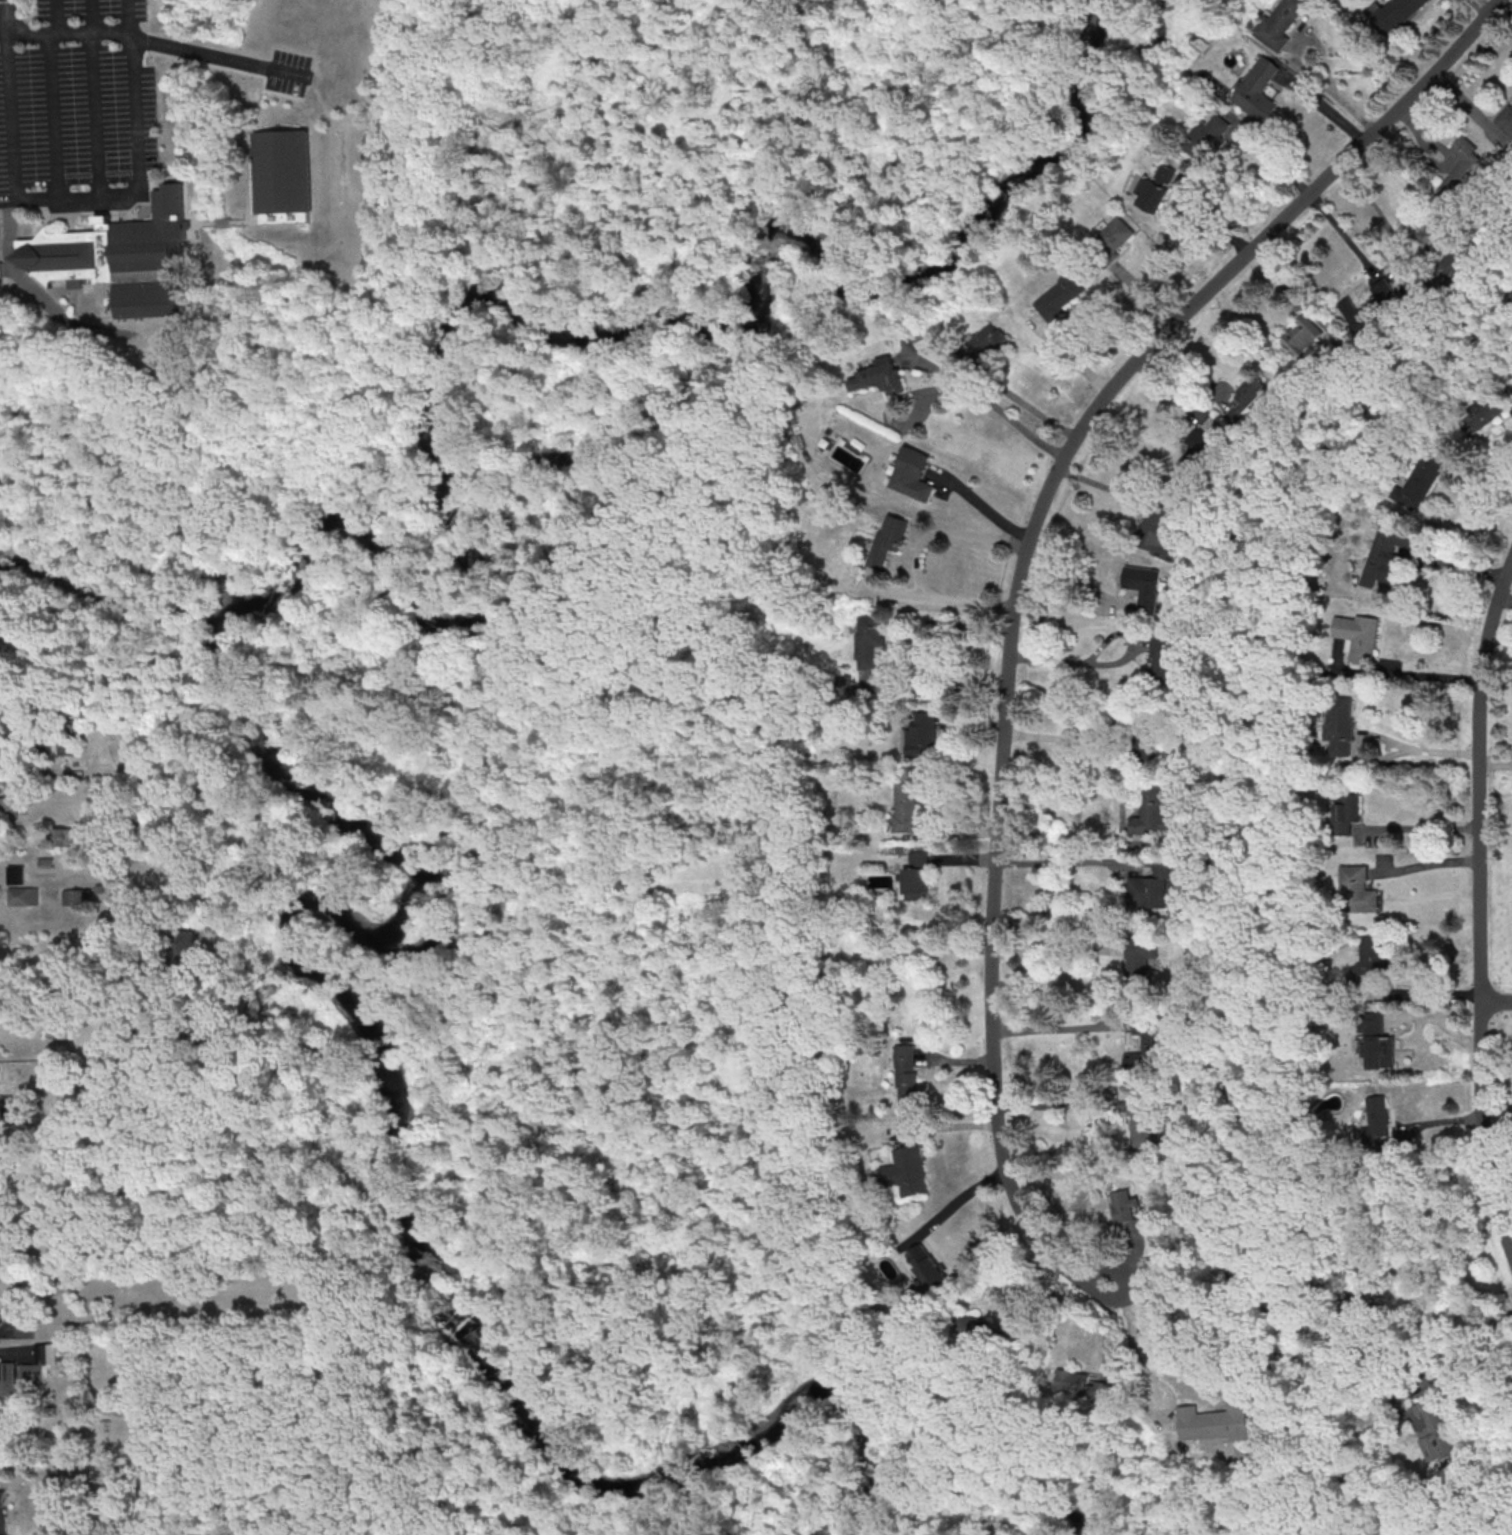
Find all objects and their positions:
building: (1396, 13)
road: (58, 16)
building: (1280, 22)
road: (155, 44)
road: (1300, 62)
parking lot: (289, 73)
building: (1257, 89)
road: (96, 98)
parking lot: (81, 100)
road: (1322, 108)
road: (53, 115)
building: (1506, 120)
building: (1205, 135)
building: (1462, 170)
building: (287, 177)
building: (1155, 189)
road: (75, 197)
road: (1342, 236)
building: (1111, 240)
road: (1395, 242)
building: (125, 265)
building: (1451, 266)
building: (0, 270)
building: (1060, 296)
building: (1360, 313)
river: (628, 334)
building: (1303, 337)
building: (986, 342)
road: (1072, 358)
building: (880, 376)
building: (1248, 397)
road: (1028, 407)
road: (991, 409)
building: (1485, 412)
building: (1196, 456)
building: (913, 474)
building: (1422, 478)
road: (1099, 485)
road: (985, 509)
building: (1159, 529)
building: (888, 539)
building: (1388, 552)
road: (913, 558)
road: (1071, 577)
road: (1025, 578)
building: (1147, 586)
river: (246, 594)
river: (142, 615)
building: (870, 630)
building: (1357, 634)
building: (1163, 659)
road: (1110, 663)
road: (1413, 674)
building: (1340, 725)
building: (921, 733)
road: (1064, 738)
building: (1147, 738)
building: (69, 741)
road: (1430, 750)
road: (28, 771)
building: (906, 804)
building: (9, 806)
building: (1152, 811)
building: (1346, 812)
road: (1424, 826)
building: (65, 837)
road: (1059, 842)
road: (1059, 864)
road: (1430, 865)
building: (15, 874)
building: (917, 875)
building: (1152, 888)
building: (1358, 890)
building: (23, 895)
building: (77, 896)
road: (1482, 905)
river: (485, 915)
building: (187, 949)
road: (1053, 949)
building: (1141, 958)
building: (1370, 960)
road: (76, 990)
road: (1428, 992)
road: (1497, 1001)
building: (1373, 1022)
road: (1057, 1025)
building: (1380, 1051)
building: (1149, 1052)
building: (906, 1074)
road: (1056, 1104)
building: (10, 1105)
building: (1143, 1119)
building: (1377, 1120)
building: (903, 1169)
road: (953, 1201)
building: (1131, 1211)
building: (1, 1233)
building: (924, 1264)
building: (0, 1314)
building: (977, 1328)
building: (24, 1329)
road: (1460, 1341)
building: (40, 1363)
building: (7, 1379)
building: (1085, 1387)
road: (1135, 1392)
building: (1213, 1419)
building: (1433, 1430)
river: (606, 1484)
building: (2, 1512)

